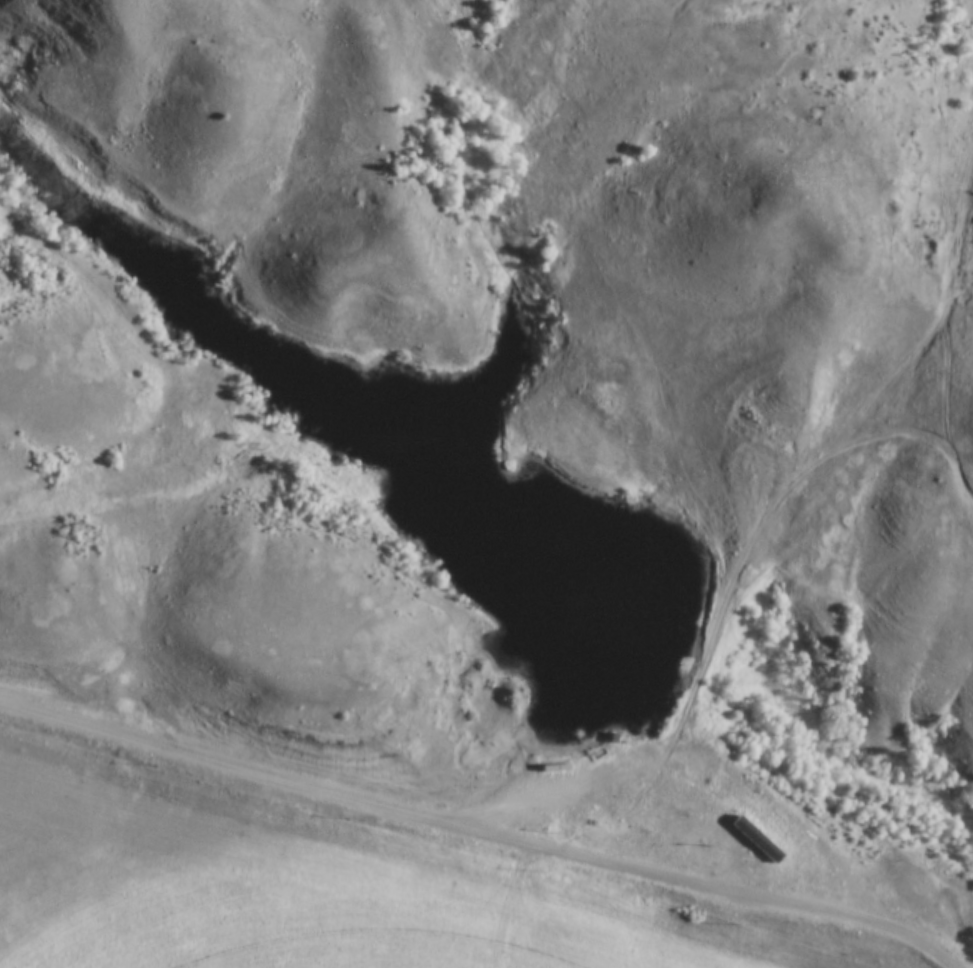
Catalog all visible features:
road: (950, 335)
road: (749, 548)
road: (326, 812)

